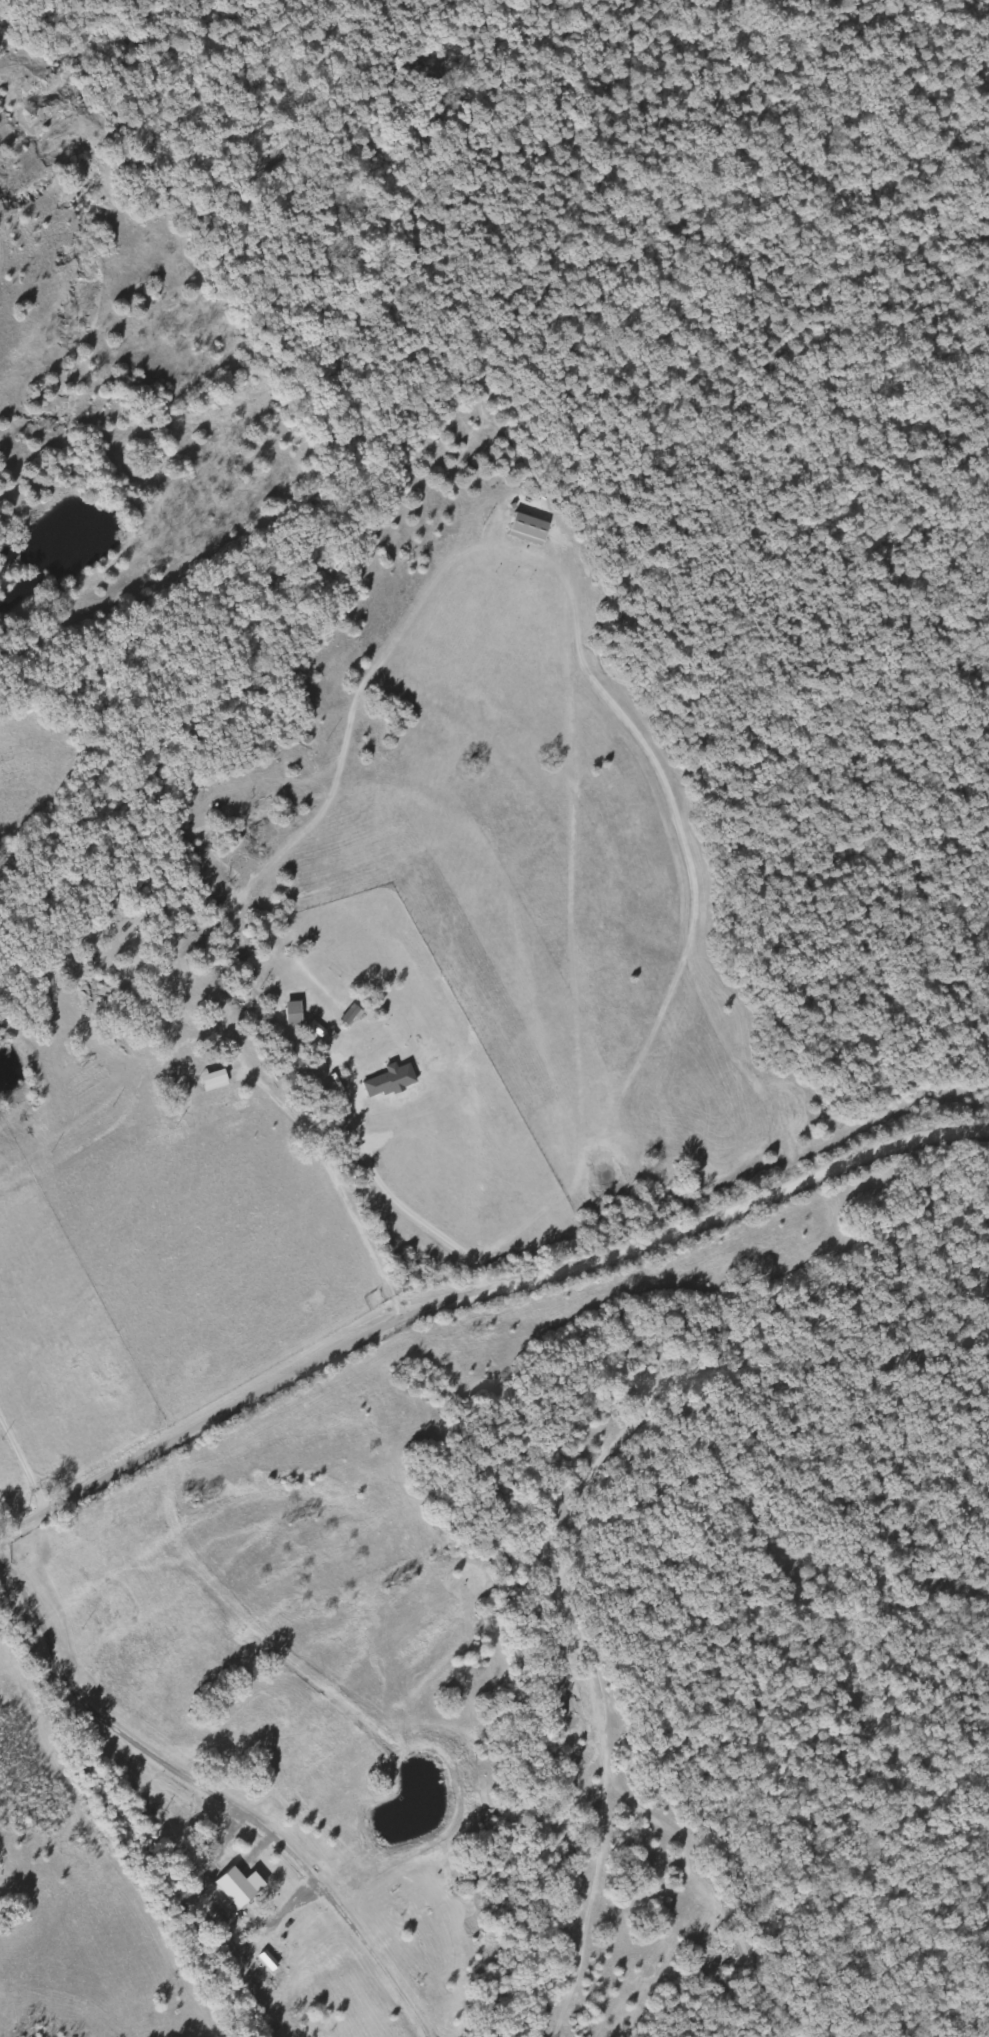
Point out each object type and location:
building: (531, 529)
building: (296, 1014)
building: (354, 1015)
building: (216, 1081)
building: (392, 1081)
road: (478, 1297)
building: (241, 1886)

